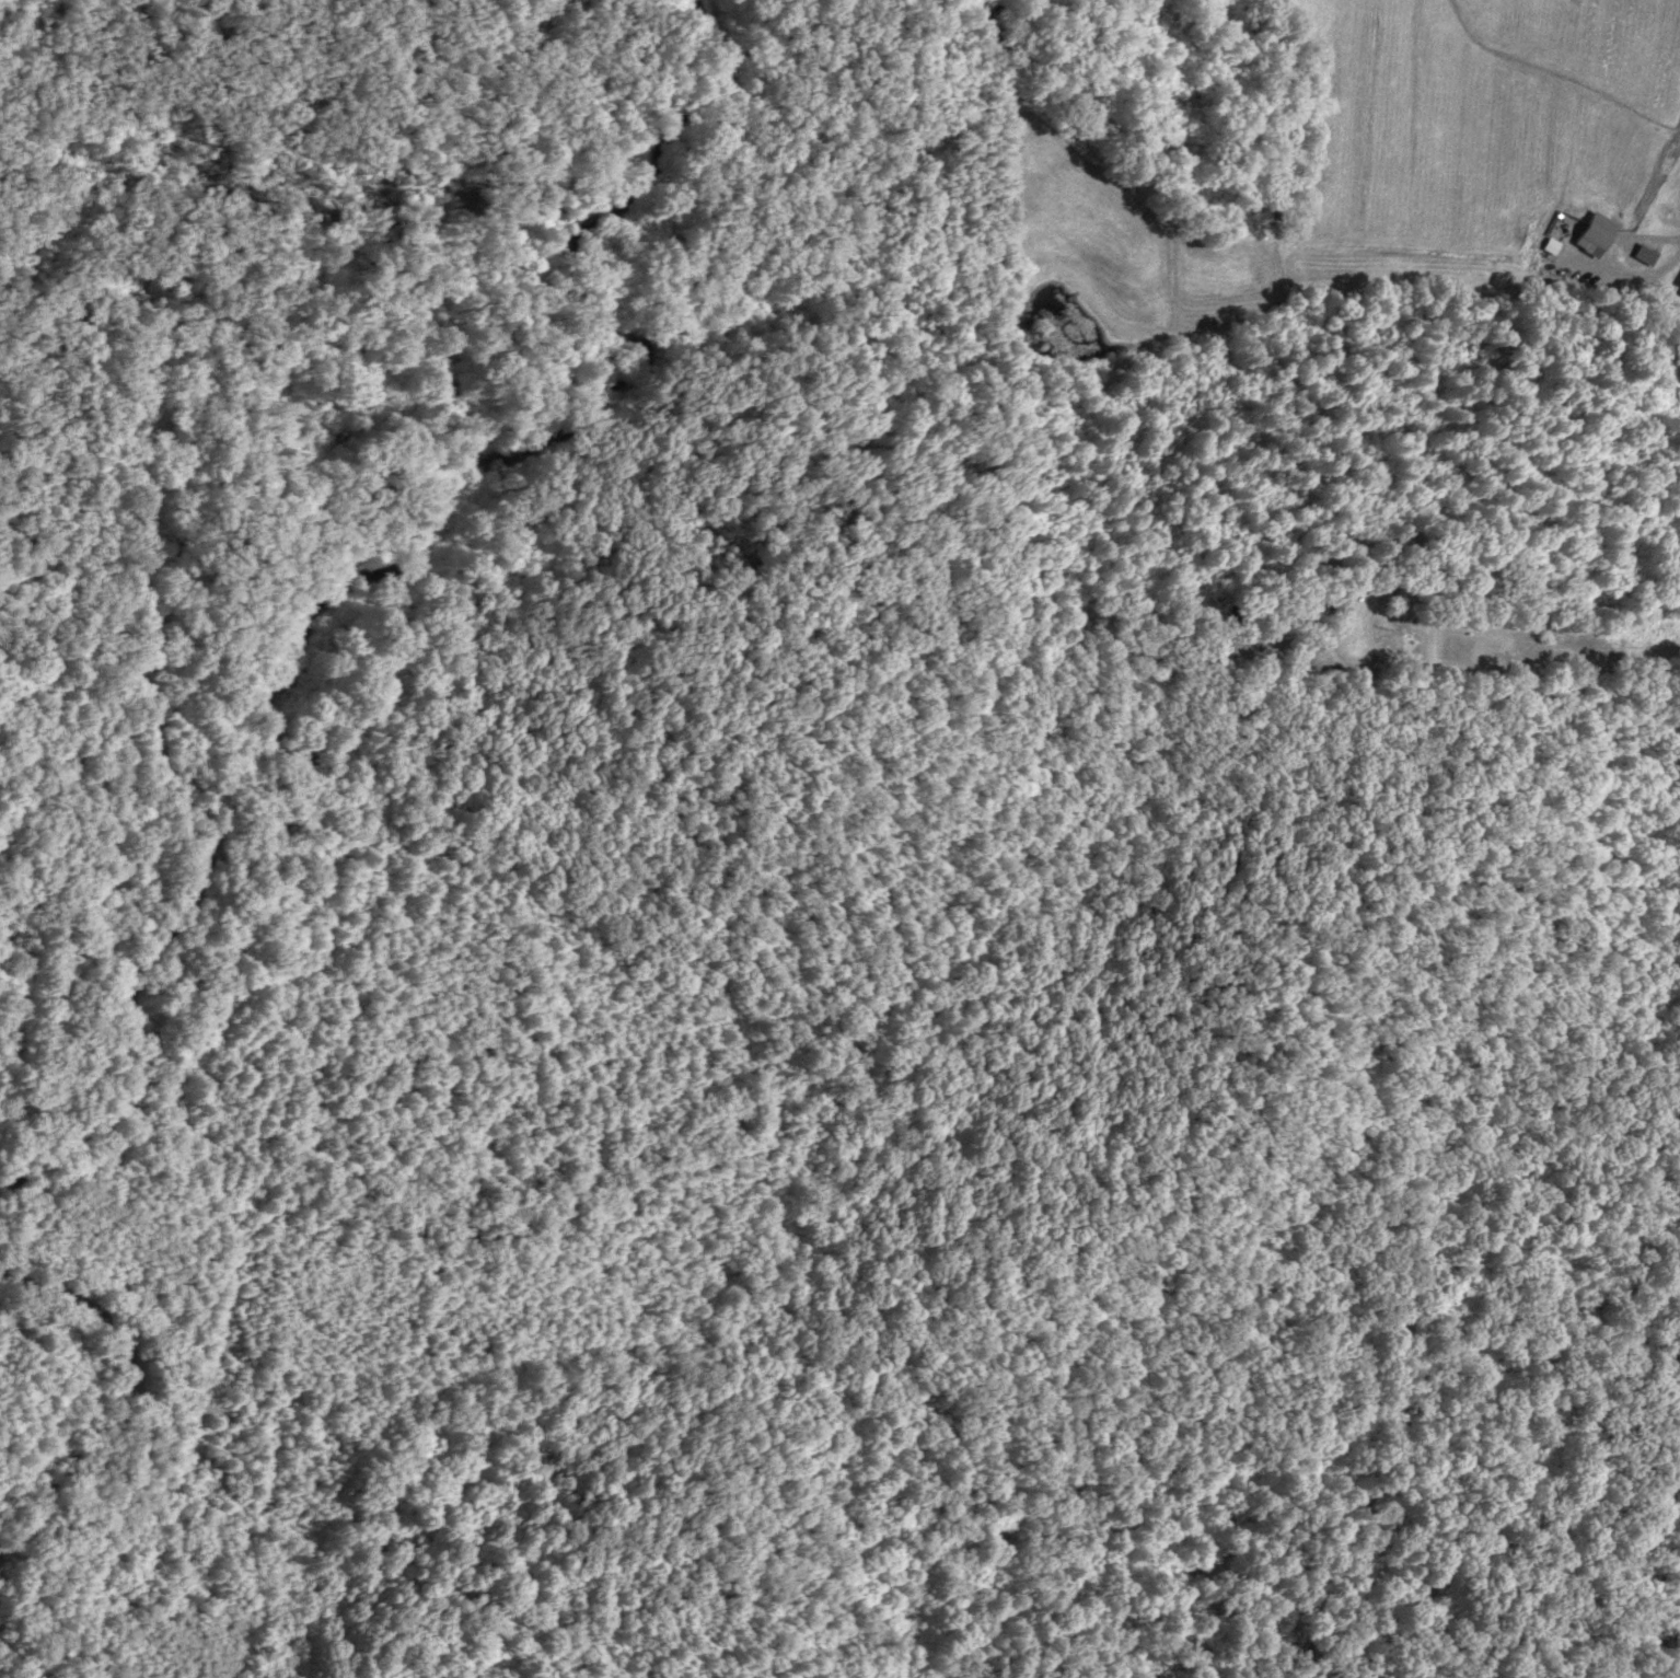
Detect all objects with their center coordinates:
building: (1595, 233)
building: (1647, 255)
building: (1415, 592)
building: (1230, 618)
road: (1482, 685)

